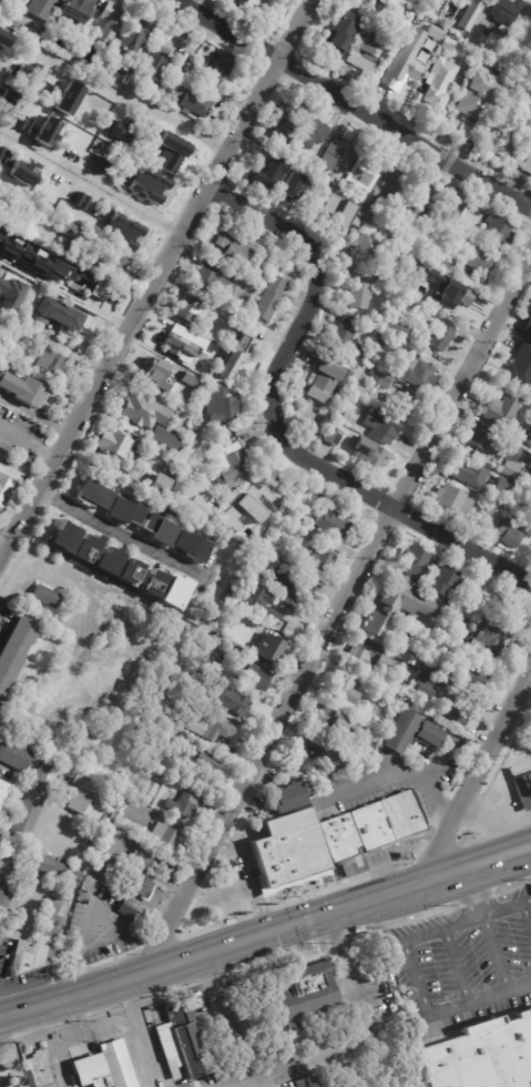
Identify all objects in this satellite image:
building: (212, 1)
building: (406, 1)
building: (477, 2)
building: (252, 6)
building: (9, 7)
building: (509, 7)
building: (39, 8)
building: (78, 9)
building: (402, 14)
building: (525, 17)
building: (502, 19)
building: (109, 20)
building: (134, 30)
building: (31, 31)
building: (184, 31)
building: (464, 33)
building: (338, 35)
building: (481, 35)
building: (3, 38)
building: (83, 43)
building: (431, 43)
building: (160, 48)
building: (364, 54)
building: (468, 59)
building: (215, 67)
building: (152, 72)
building: (399, 72)
building: (120, 74)
building: (372, 82)
building: (69, 98)
road: (114, 98)
building: (435, 99)
building: (10, 102)
building: (192, 102)
building: (514, 102)
road: (351, 103)
building: (470, 110)
building: (286, 114)
building: (28, 125)
building: (530, 126)
building: (104, 130)
building: (530, 130)
building: (47, 131)
building: (121, 131)
building: (310, 132)
building: (259, 140)
building: (166, 145)
building: (283, 145)
building: (508, 150)
building: (280, 152)
building: (336, 155)
building: (102, 165)
building: (527, 165)
building: (21, 173)
building: (280, 173)
building: (361, 174)
building: (330, 177)
road: (91, 182)
building: (144, 189)
building: (390, 190)
building: (361, 196)
building: (81, 201)
building: (419, 201)
building: (328, 209)
building: (452, 210)
building: (349, 215)
building: (498, 228)
building: (70, 231)
building: (122, 231)
building: (364, 245)
building: (62, 247)
building: (232, 251)
building: (32, 256)
building: (89, 256)
building: (466, 260)
building: (112, 263)
building: (386, 276)
building: (435, 276)
road: (155, 282)
building: (211, 284)
building: (11, 293)
building: (104, 293)
road: (64, 295)
building: (359, 295)
building: (268, 298)
building: (416, 303)
building: (458, 303)
building: (191, 307)
building: (58, 316)
building: (348, 322)
building: (395, 327)
building: (529, 331)
building: (440, 336)
road: (55, 339)
building: (345, 342)
building: (387, 344)
building: (173, 345)
building: (238, 345)
building: (214, 347)
building: (191, 353)
building: (51, 359)
building: (529, 369)
building: (154, 370)
building: (417, 373)
building: (381, 378)
building: (323, 379)
building: (167, 383)
building: (187, 384)
building: (24, 387)
building: (221, 405)
building: (408, 408)
building: (341, 410)
building: (500, 410)
building: (142, 412)
road: (277, 425)
building: (381, 426)
building: (197, 434)
building: (529, 435)
building: (331, 437)
building: (166, 440)
road: (29, 444)
building: (114, 444)
building: (497, 450)
building: (370, 455)
building: (175, 463)
building: (231, 464)
building: (173, 470)
building: (467, 474)
building: (530, 475)
building: (6, 480)
building: (159, 484)
building: (529, 484)
building: (501, 490)
building: (93, 495)
building: (527, 496)
building: (257, 497)
building: (452, 501)
building: (530, 505)
building: (200, 509)
building: (124, 511)
building: (287, 516)
building: (490, 519)
building: (221, 522)
building: (297, 522)
building: (334, 524)
building: (157, 528)
building: (510, 534)
road: (121, 535)
road: (3, 548)
building: (83, 548)
building: (192, 548)
building: (318, 562)
building: (412, 563)
building: (118, 567)
building: (254, 575)
building: (476, 580)
building: (440, 581)
building: (151, 582)
building: (297, 590)
building: (174, 592)
building: (44, 597)
building: (478, 600)
building: (408, 601)
building: (259, 605)
road: (339, 606)
building: (510, 610)
building: (294, 611)
building: (243, 620)
building: (377, 629)
building: (489, 637)
building: (451, 643)
building: (269, 648)
building: (16, 649)
building: (405, 657)
building: (208, 661)
building: (370, 662)
building: (415, 664)
building: (436, 673)
building: (257, 679)
building: (468, 679)
building: (385, 688)
building: (345, 690)
building: (423, 690)
building: (379, 695)
building: (233, 702)
building: (456, 711)
building: (333, 723)
building: (203, 725)
building: (398, 733)
building: (428, 734)
building: (362, 750)
building: (13, 755)
building: (177, 760)
building: (205, 762)
building: (336, 762)
road: (398, 771)
building: (61, 773)
road: (478, 779)
building: (2, 790)
building: (524, 791)
building: (147, 792)
building: (293, 794)
building: (30, 805)
building: (184, 805)
building: (84, 806)
building: (292, 806)
building: (116, 810)
building: (372, 826)
building: (0, 837)
building: (164, 837)
building: (111, 841)
road: (229, 845)
building: (294, 846)
building: (149, 860)
building: (57, 873)
road: (27, 875)
building: (7, 878)
building: (139, 887)
building: (86, 888)
road: (242, 890)
road: (472, 892)
road: (525, 901)
road: (500, 908)
building: (127, 911)
road: (525, 917)
road: (461, 921)
road: (265, 932)
building: (37, 944)
road: (492, 952)
road: (408, 957)
road: (455, 965)
parking lot: (463, 967)
building: (319, 985)
road: (359, 998)
road: (479, 998)
road: (3, 1022)
road: (221, 1025)
road: (136, 1033)
building: (182, 1042)
road: (52, 1046)
building: (481, 1057)
building: (40, 1067)
building: (105, 1067)
road: (272, 1070)
building: (180, 1077)
building: (14, 1083)
building: (307, 1083)

